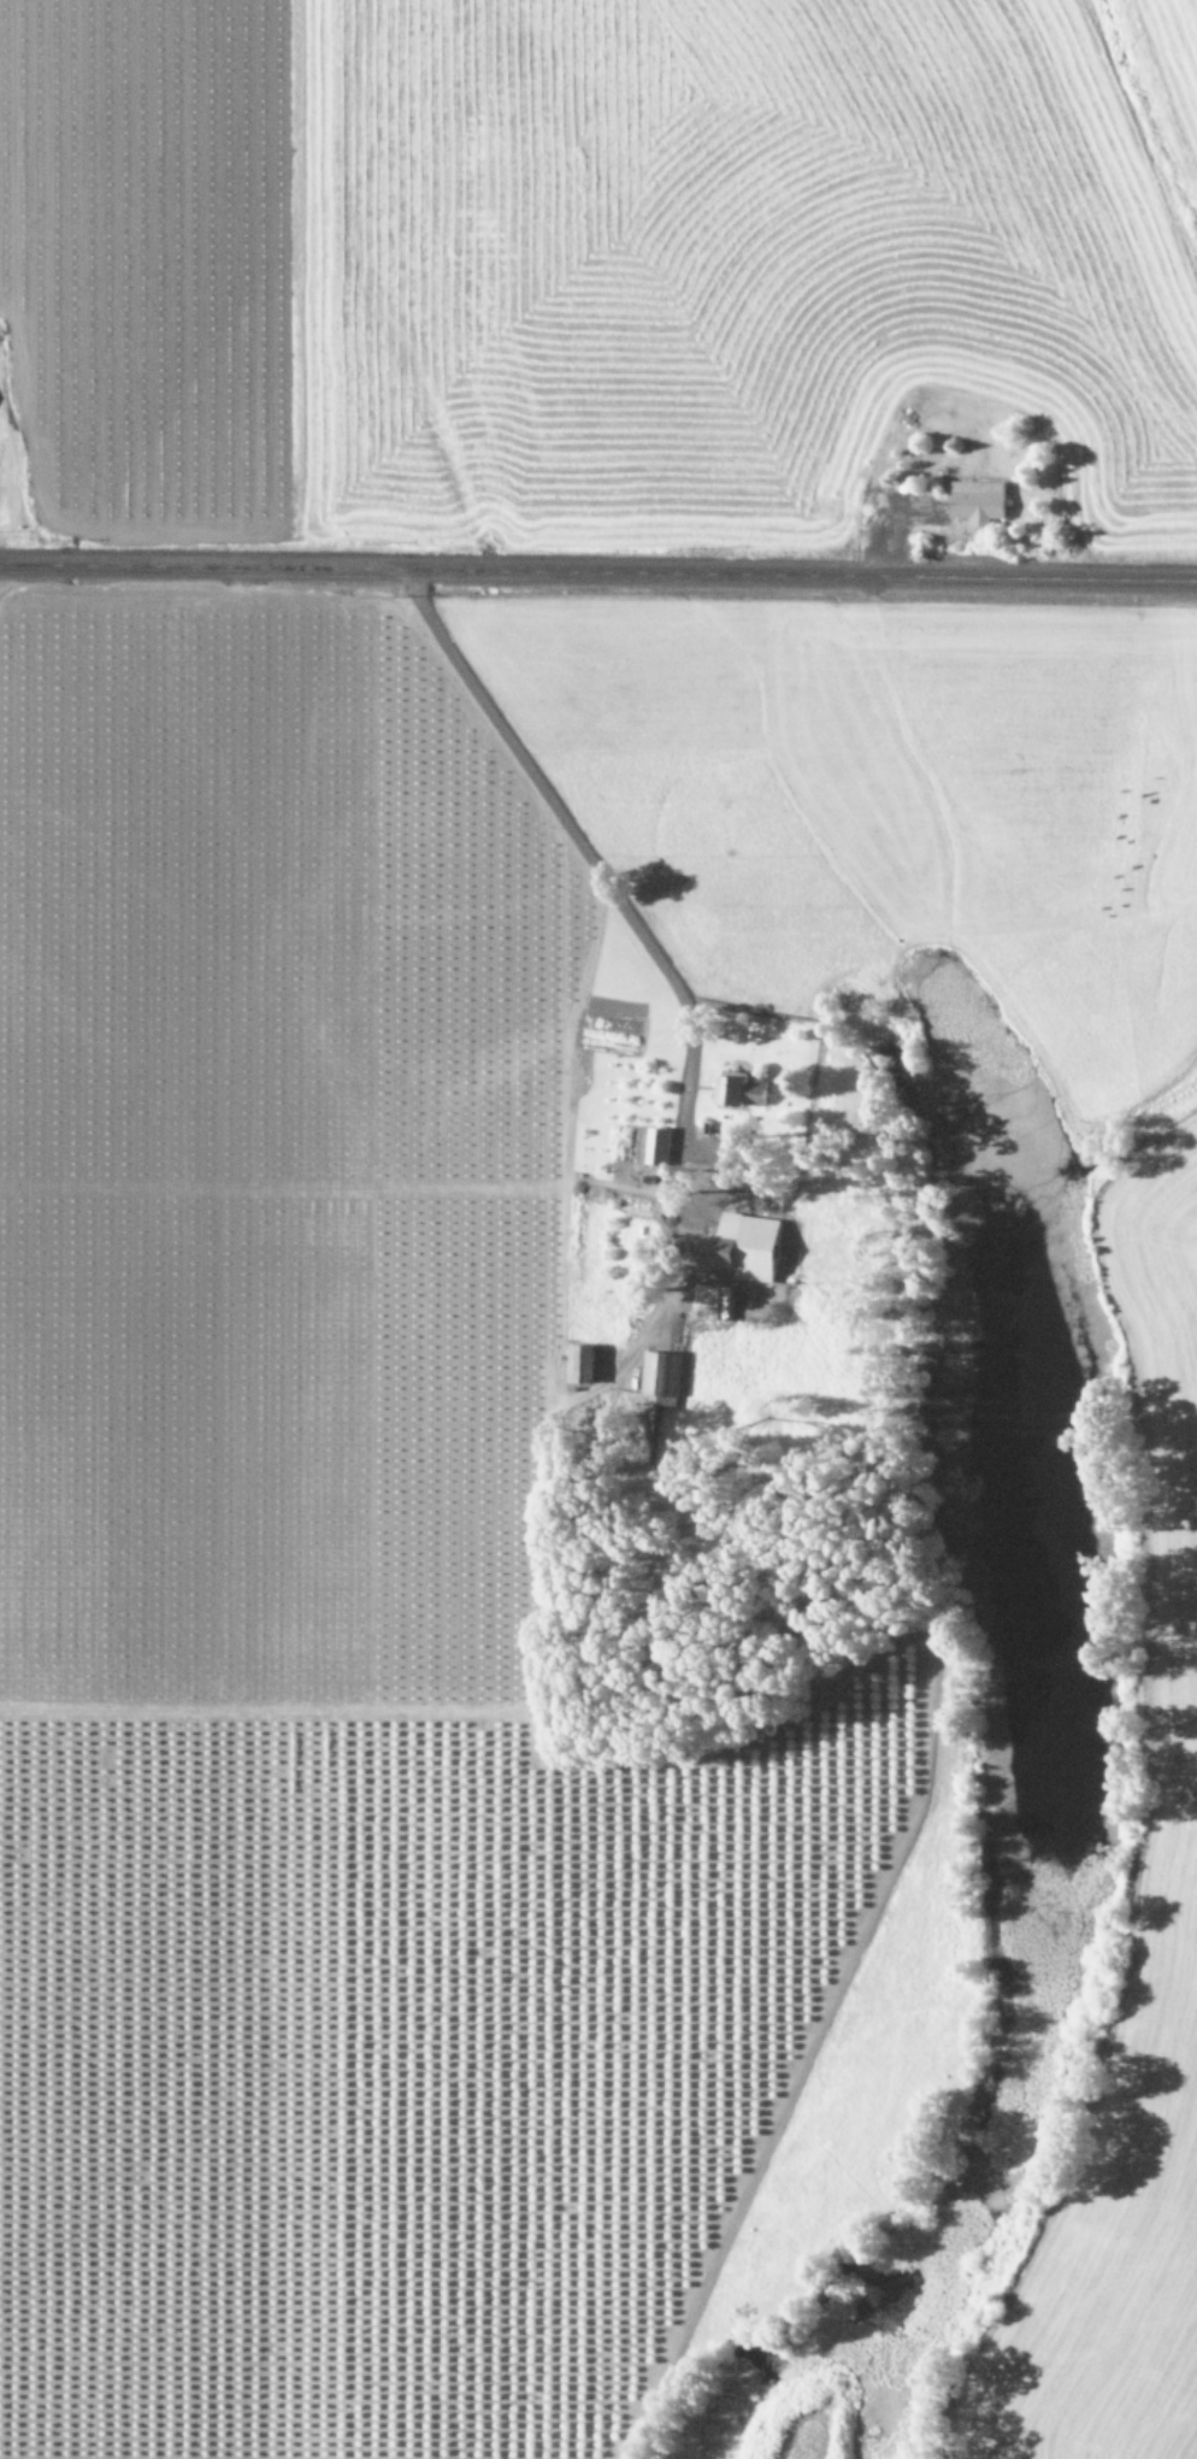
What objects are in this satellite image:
crop: (601, 270)
building: (977, 500)
road: (597, 569)
road: (547, 810)
building: (738, 1090)
building: (656, 1145)
building: (701, 1295)
building: (579, 1361)
building: (660, 1372)
crop: (597, 1528)

